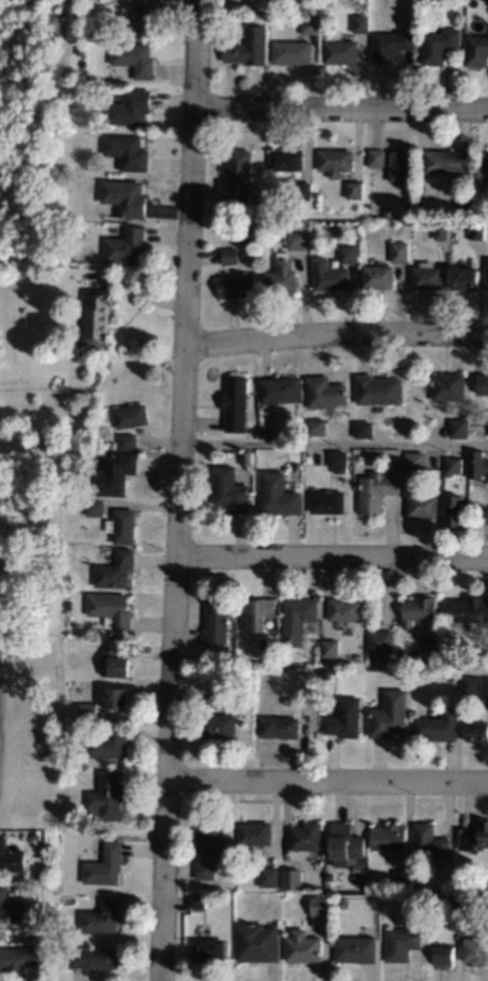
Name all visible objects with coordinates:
building: (141, 16)
building: (359, 23)
building: (308, 24)
building: (390, 45)
building: (438, 45)
building: (247, 47)
building: (77, 50)
building: (476, 50)
building: (339, 51)
building: (290, 52)
building: (132, 58)
building: (128, 108)
road: (339, 108)
building: (125, 152)
building: (375, 157)
building: (285, 159)
building: (484, 160)
building: (334, 161)
building: (448, 163)
building: (400, 166)
building: (236, 176)
building: (304, 186)
building: (354, 190)
building: (123, 197)
building: (460, 204)
building: (483, 213)
building: (333, 227)
building: (441, 230)
building: (477, 231)
building: (296, 240)
building: (123, 246)
building: (399, 251)
building: (347, 253)
building: (229, 256)
building: (486, 273)
building: (280, 275)
building: (329, 275)
building: (377, 276)
building: (426, 276)
building: (463, 278)
building: (236, 286)
building: (97, 315)
road: (334, 333)
building: (482, 384)
building: (448, 386)
building: (377, 389)
building: (279, 390)
building: (324, 392)
building: (234, 404)
building: (129, 416)
building: (300, 425)
building: (315, 427)
building: (458, 428)
building: (362, 429)
building: (264, 432)
building: (126, 442)
building: (45, 444)
road: (333, 446)
building: (247, 458)
building: (337, 460)
building: (413, 460)
building: (477, 464)
building: (295, 465)
building: (453, 465)
building: (110, 474)
building: (75, 475)
road: (177, 490)
building: (229, 490)
building: (375, 491)
building: (277, 494)
building: (327, 502)
building: (81, 503)
building: (421, 506)
building: (93, 508)
building: (453, 510)
building: (120, 525)
road: (331, 556)
building: (114, 569)
building: (65, 594)
building: (66, 605)
building: (343, 609)
building: (419, 609)
building: (470, 609)
building: (109, 610)
building: (255, 613)
building: (296, 618)
building: (215, 621)
building: (115, 634)
building: (380, 641)
building: (328, 648)
building: (112, 661)
road: (474, 670)
building: (240, 674)
building: (325, 674)
building: (450, 677)
building: (470, 684)
building: (115, 698)
building: (286, 700)
building: (85, 712)
building: (388, 715)
building: (344, 718)
building: (217, 725)
building: (436, 726)
building: (277, 727)
building: (476, 731)
building: (106, 743)
road: (327, 781)
building: (105, 797)
building: (254, 833)
building: (483, 833)
building: (305, 837)
building: (387, 837)
building: (210, 838)
building: (466, 838)
building: (344, 842)
building: (429, 845)
building: (11, 859)
building: (104, 865)
building: (204, 870)
building: (267, 877)
building: (290, 879)
building: (401, 880)
building: (384, 883)
building: (409, 899)
building: (196, 901)
building: (449, 903)
building: (318, 906)
building: (10, 909)
building: (469, 909)
building: (101, 917)
building: (256, 942)
building: (400, 943)
building: (301, 947)
building: (207, 949)
building: (354, 949)
building: (474, 951)
building: (442, 955)
building: (17, 958)
building: (93, 958)

